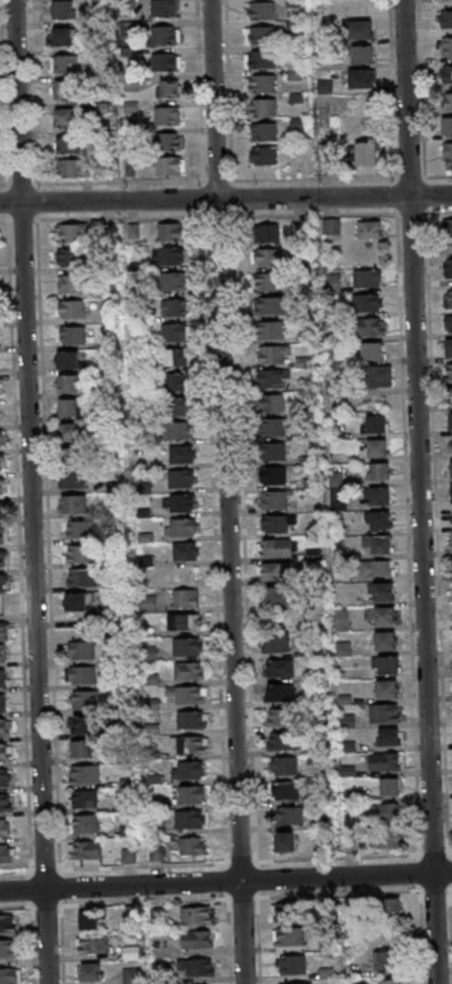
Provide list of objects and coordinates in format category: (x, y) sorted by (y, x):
building: (443, 0)
building: (163, 8)
building: (65, 9)
building: (262, 10)
building: (445, 18)
building: (359, 29)
building: (166, 34)
building: (263, 34)
building: (66, 36)
building: (446, 46)
building: (361, 53)
building: (262, 58)
building: (167, 61)
building: (66, 64)
building: (445, 77)
building: (361, 78)
building: (263, 83)
building: (168, 88)
building: (68, 90)
road: (7, 92)
road: (36, 92)
building: (447, 102)
building: (263, 106)
building: (167, 115)
building: (69, 117)
building: (298, 125)
building: (446, 126)
building: (264, 131)
building: (171, 141)
building: (70, 144)
building: (448, 153)
building: (366, 154)
building: (265, 155)
building: (170, 165)
building: (74, 168)
road: (225, 180)
road: (225, 197)
road: (226, 216)
building: (333, 226)
building: (447, 227)
building: (369, 229)
building: (171, 231)
building: (71, 232)
building: (271, 233)
building: (168, 256)
building: (71, 257)
building: (272, 258)
building: (447, 269)
building: (367, 278)
building: (171, 280)
building: (273, 282)
building: (71, 284)
building: (447, 300)
building: (368, 303)
building: (276, 305)
building: (174, 307)
building: (70, 308)
building: (448, 324)
building: (370, 327)
building: (274, 330)
building: (176, 332)
building: (71, 335)
building: (448, 349)
building: (373, 351)
building: (275, 354)
building: (175, 357)
building: (68, 359)
building: (448, 373)
building: (378, 376)
building: (276, 379)
building: (176, 381)
building: (69, 383)
building: (0, 389)
building: (451, 398)
building: (276, 403)
building: (180, 405)
building: (68, 408)
building: (0, 413)
building: (450, 421)
building: (377, 424)
building: (276, 427)
building: (179, 430)
building: (69, 432)
building: (2, 438)
building: (451, 445)
building: (375, 449)
building: (277, 451)
building: (73, 456)
building: (181, 456)
building: (2, 462)
building: (450, 469)
building: (384, 471)
building: (278, 476)
building: (185, 479)
building: (77, 481)
building: (2, 487)
road: (35, 491)
road: (231, 491)
road: (424, 491)
building: (450, 494)
building: (384, 497)
building: (278, 500)
building: (185, 503)
building: (78, 504)
building: (2, 510)
building: (451, 519)
building: (385, 521)
building: (279, 524)
building: (187, 528)
building: (84, 530)
building: (4, 535)
building: (451, 542)
building: (386, 545)
building: (283, 548)
building: (189, 552)
building: (85, 554)
building: (3, 559)
building: (378, 569)
building: (280, 571)
building: (86, 578)
building: (4, 583)
building: (389, 592)
building: (279, 596)
building: (186, 597)
building: (77, 601)
building: (147, 603)
building: (2, 607)
building: (389, 617)
building: (341, 620)
building: (185, 621)
building: (3, 632)
building: (390, 642)
building: (277, 643)
building: (187, 646)
building: (81, 651)
building: (3, 652)
building: (393, 666)
building: (279, 668)
building: (187, 669)
building: (81, 676)
building: (3, 677)
building: (391, 690)
building: (279, 693)
building: (188, 694)
building: (84, 700)
building: (3, 702)
building: (389, 714)
building: (280, 718)
building: (190, 719)
building: (81, 724)
building: (3, 727)
building: (394, 739)
building: (281, 742)
building: (191, 744)
building: (81, 749)
building: (3, 752)
building: (388, 763)
building: (284, 767)
building: (190, 769)
building: (85, 773)
building: (5, 777)
building: (394, 788)
building: (285, 791)
building: (191, 794)
building: (85, 799)
building: (5, 802)
building: (389, 814)
building: (289, 815)
building: (189, 818)
building: (84, 824)
building: (4, 828)
building: (393, 840)
building: (284, 841)
building: (192, 846)
building: (86, 849)
building: (7, 854)
building: (156, 854)
building: (128, 855)
road: (225, 881)
building: (392, 907)
building: (285, 912)
building: (195, 914)
building: (89, 920)
building: (9, 925)
building: (288, 936)
building: (196, 939)
building: (93, 944)
building: (10, 949)
building: (385, 960)
building: (290, 963)
building: (198, 967)
building: (95, 973)
building: (132, 975)
building: (12, 977)
building: (391, 981)
building: (294, 983)

